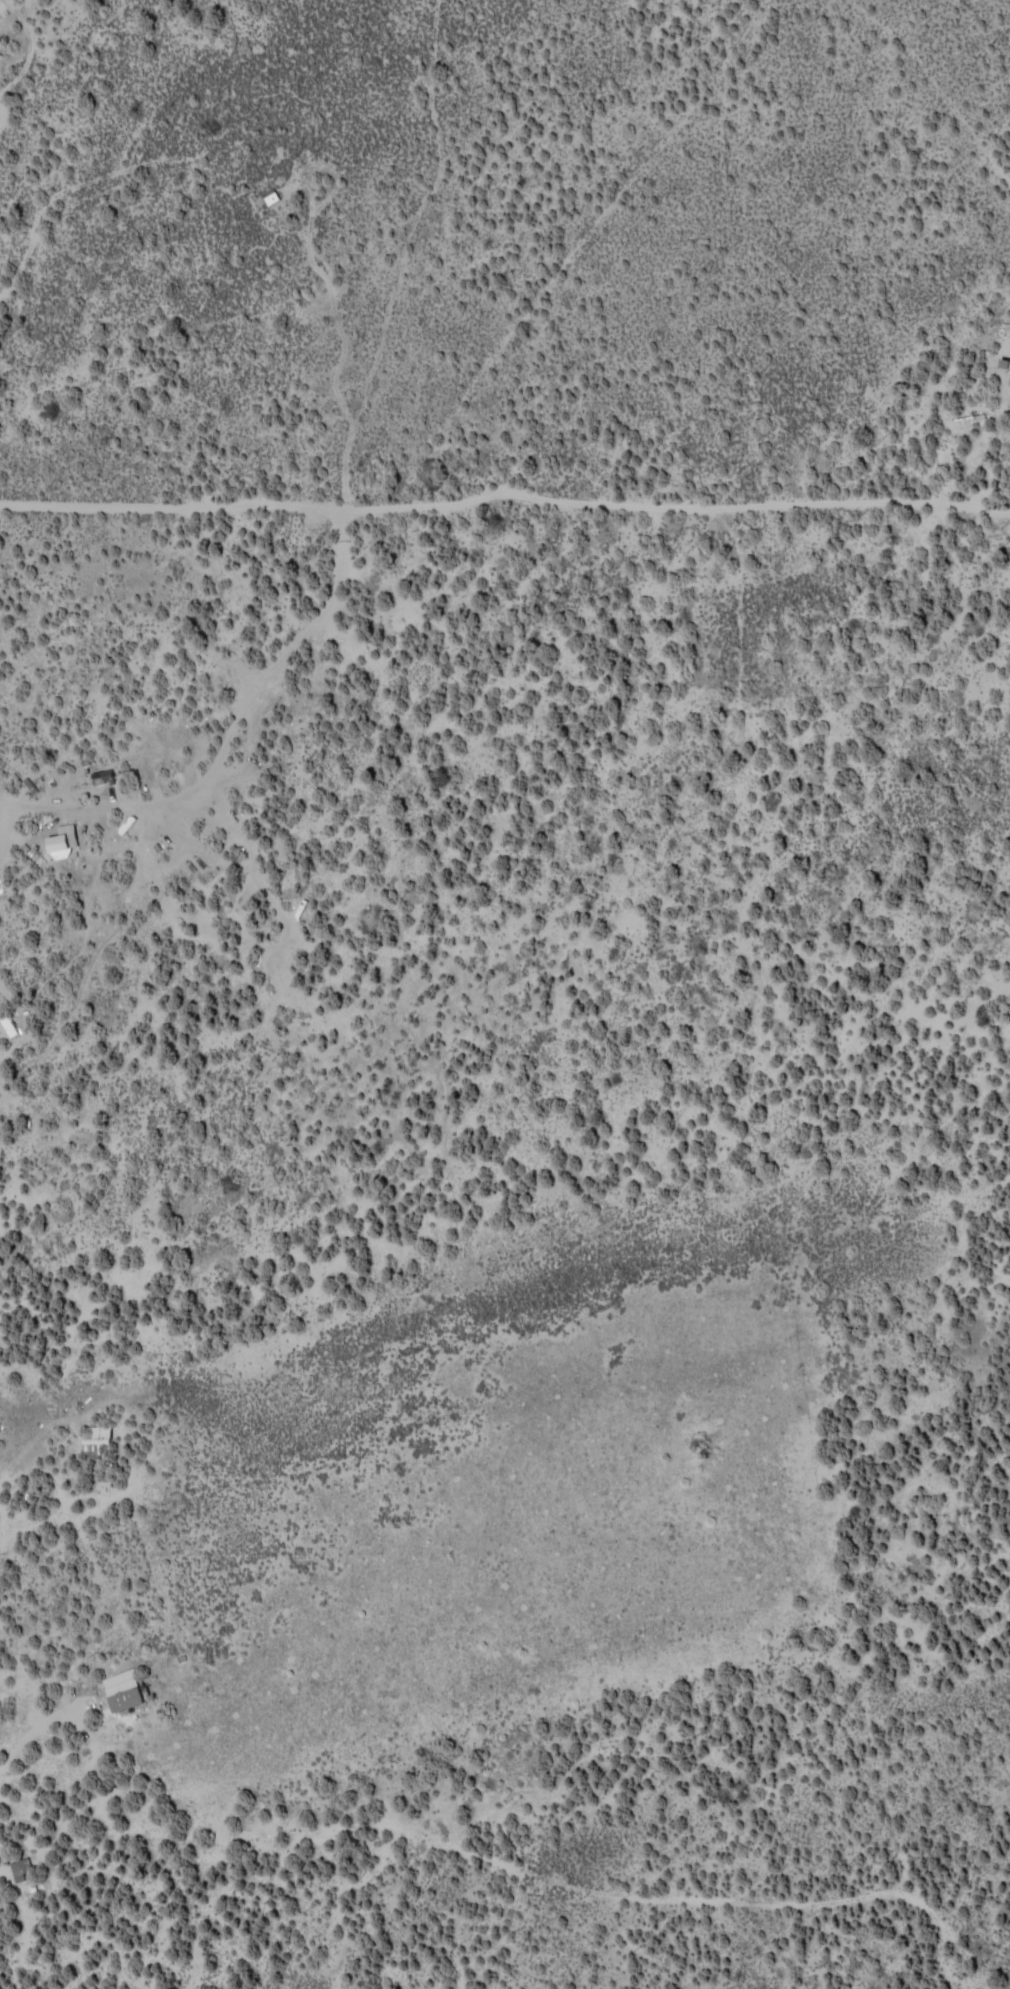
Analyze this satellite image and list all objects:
road: (955, 58)
building: (273, 195)
road: (748, 234)
building: (971, 417)
road: (505, 527)
road: (409, 722)
building: (105, 775)
building: (66, 840)
building: (10, 1020)
road: (120, 1412)
building: (100, 1441)
building: (129, 1690)
road: (520, 1819)
building: (16, 1870)
road: (775, 1927)

